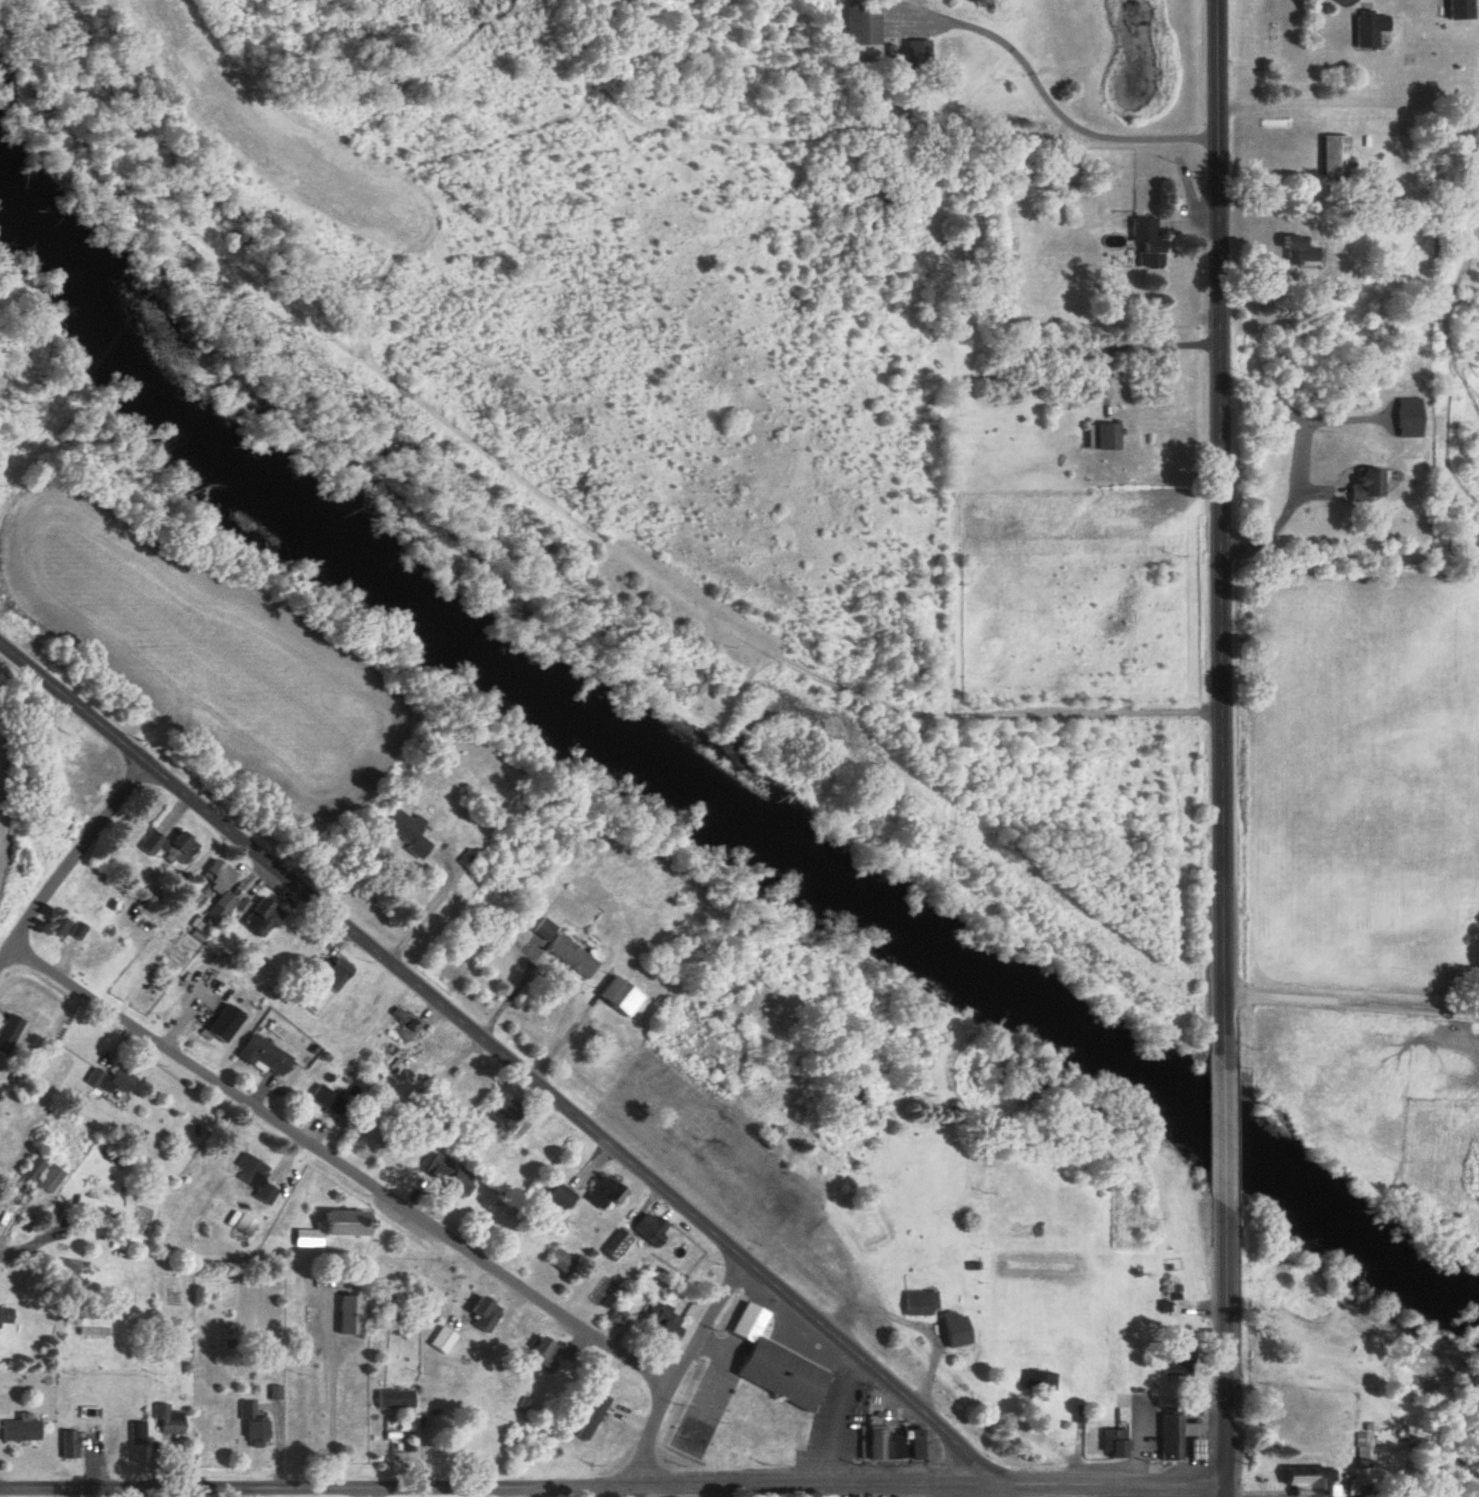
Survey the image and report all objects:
building: (1460, 9)
building: (861, 25)
building: (1367, 29)
building: (917, 52)
road: (1075, 120)
building: (1334, 157)
building: (1146, 242)
building: (1295, 250)
road: (1165, 343)
building: (1106, 437)
building: (1363, 484)
road: (553, 499)
road: (1222, 530)
road: (1271, 533)
building: (1226, 595)
road: (1212, 752)
building: (74, 755)
river: (696, 800)
building: (407, 832)
building: (151, 844)
building: (178, 849)
building: (467, 859)
road: (71, 864)
building: (218, 876)
building: (225, 902)
building: (113, 905)
road: (424, 909)
building: (262, 916)
building: (66, 928)
building: (542, 929)
building: (570, 956)
building: (329, 973)
road: (1352, 996)
building: (617, 997)
building: (404, 1023)
building: (10, 1032)
building: (262, 1053)
building: (427, 1053)
road: (508, 1054)
building: (112, 1079)
building: (431, 1088)
building: (850, 1088)
building: (0, 1090)
building: (328, 1101)
building: (504, 1112)
road: (1226, 1132)
building: (771, 1136)
road: (343, 1165)
building: (34, 1169)
building: (256, 1178)
building: (460, 1182)
building: (602, 1191)
building: (557, 1196)
building: (101, 1206)
building: (248, 1227)
building: (329, 1227)
building: (649, 1227)
building: (614, 1243)
road: (1, 1254)
building: (563, 1261)
building: (919, 1302)
building: (482, 1313)
building: (5, 1314)
building: (617, 1316)
building: (665, 1322)
building: (749, 1323)
road: (915, 1323)
building: (93, 1324)
building: (443, 1339)
road: (1226, 1344)
building: (542, 1351)
building: (1176, 1361)
road: (680, 1370)
building: (783, 1377)
building: (1040, 1379)
building: (598, 1381)
road: (712, 1381)
road: (337, 1383)
building: (278, 1391)
building: (395, 1397)
building: (526, 1402)
building: (1081, 1413)
building: (592, 1417)
building: (169, 1419)
road: (830, 1420)
building: (254, 1424)
building: (20, 1427)
building: (140, 1435)
building: (1170, 1436)
building: (891, 1441)
building: (1113, 1442)
building: (68, 1444)
building: (1193, 1449)
building: (1308, 1480)
road: (1114, 1484)
road: (501, 1488)
road: (1003, 1490)
road: (1132, 1490)
road: (1226, 1491)
road: (359, 1492)
road: (379, 1492)
road: (517, 1492)

